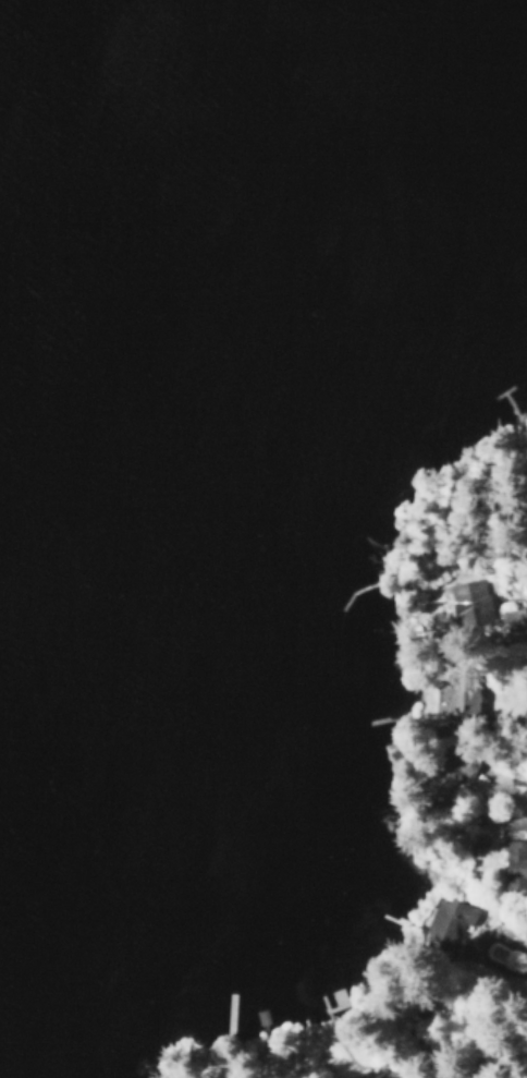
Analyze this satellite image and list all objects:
building: (467, 599)
building: (459, 695)
building: (449, 773)
building: (513, 861)
building: (448, 920)
building: (390, 1075)

